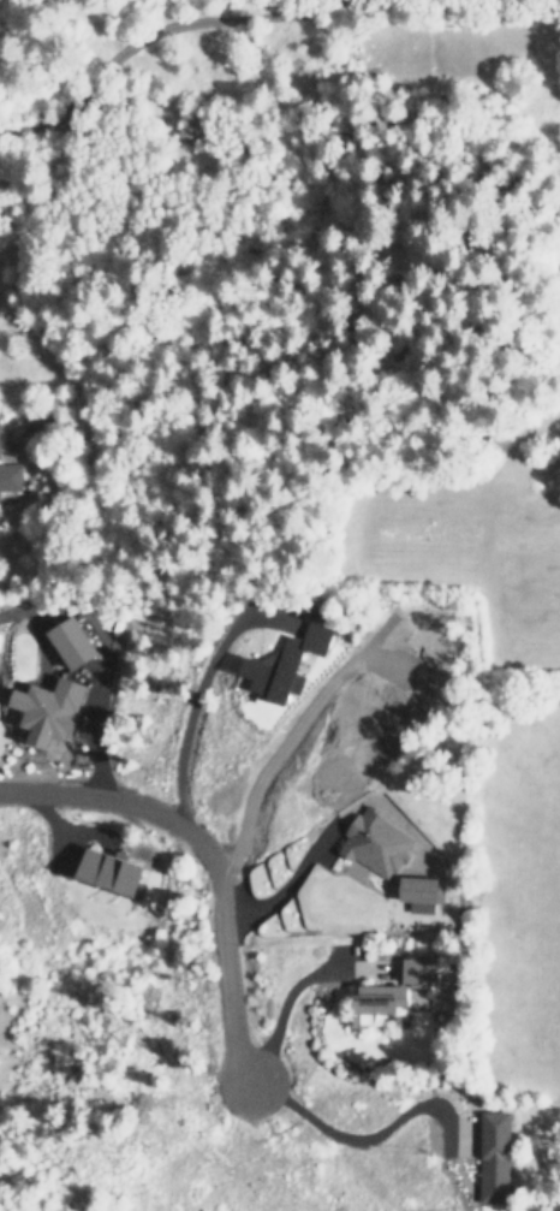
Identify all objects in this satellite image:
road: (168, 28)
building: (10, 476)
building: (72, 643)
road: (105, 653)
building: (285, 664)
road: (199, 685)
building: (49, 711)
road: (323, 827)
building: (376, 843)
road: (208, 859)
building: (112, 872)
building: (423, 892)
building: (419, 970)
road: (292, 985)
building: (385, 1003)
road: (365, 1135)
building: (489, 1156)

